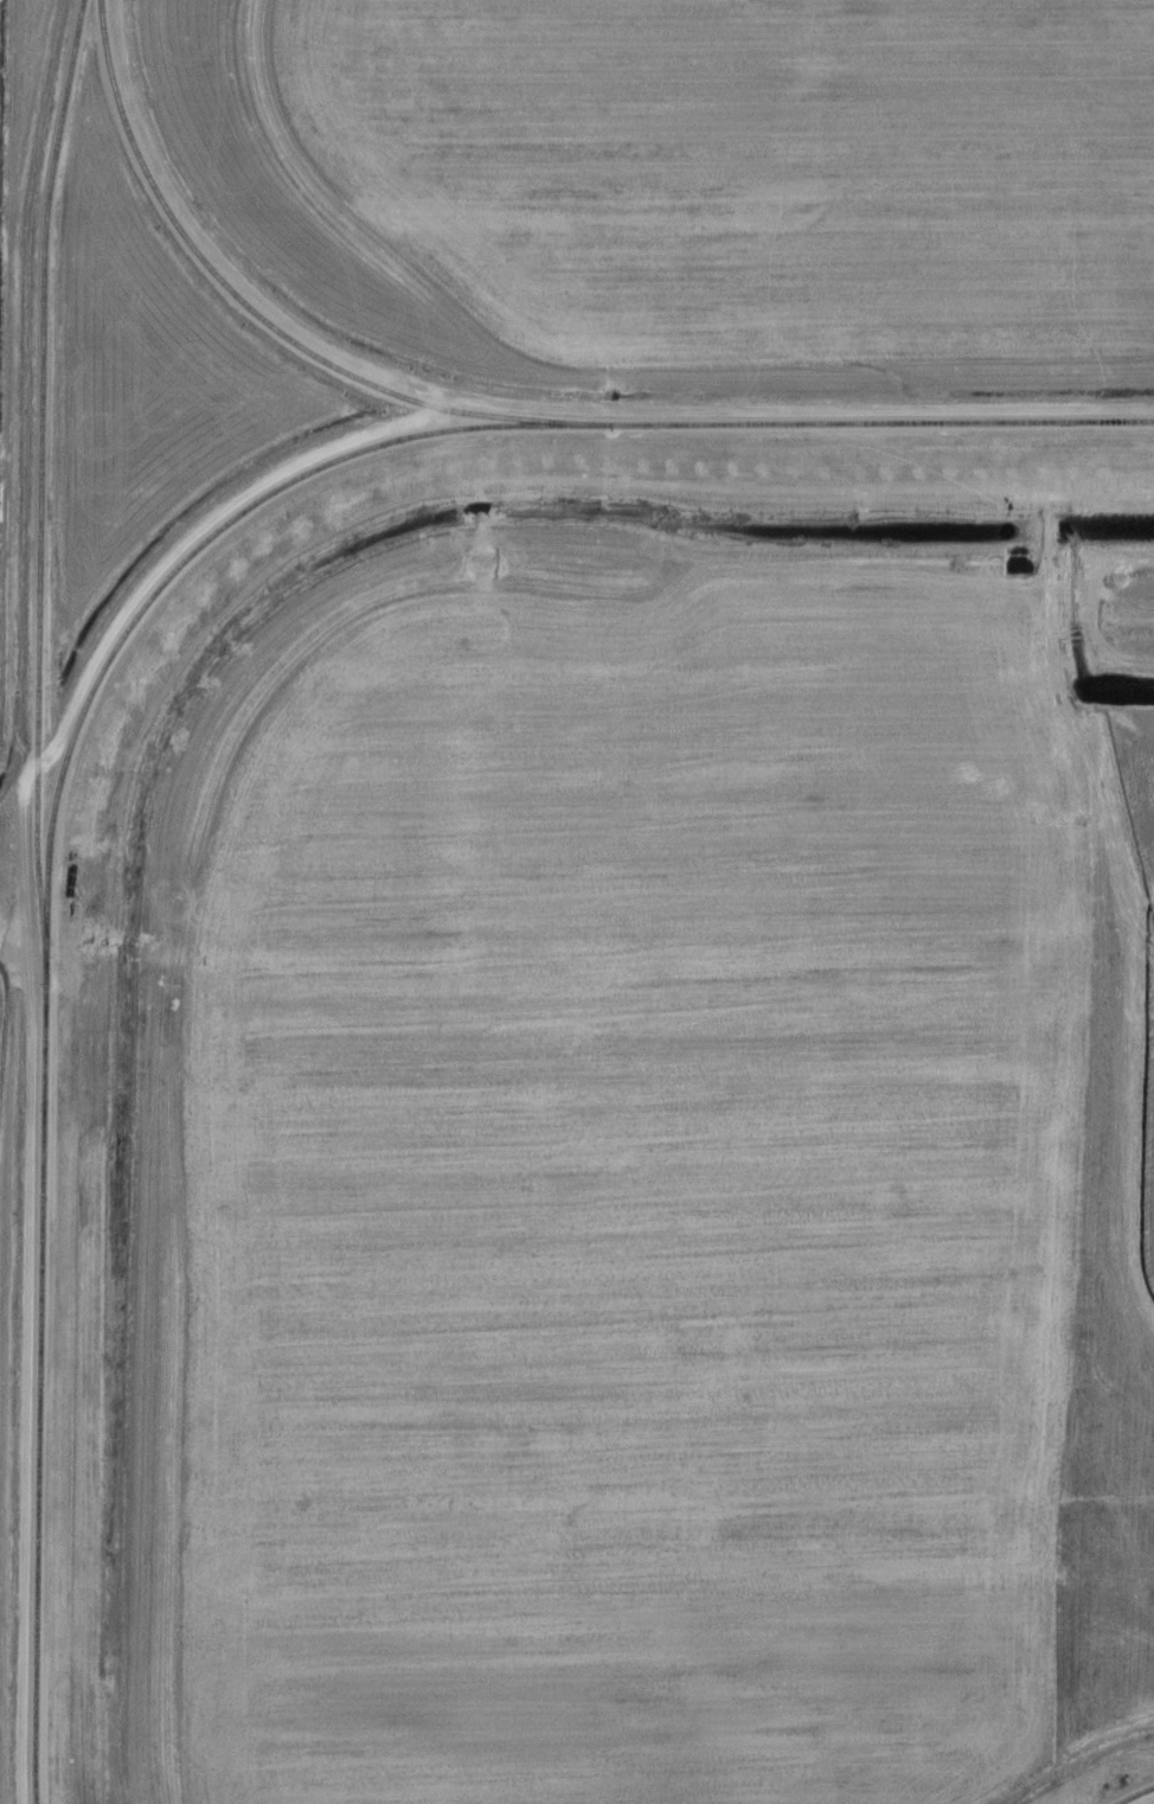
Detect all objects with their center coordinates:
road: (1, 127)
road: (13, 940)
road: (20, 953)
road: (2, 1024)

